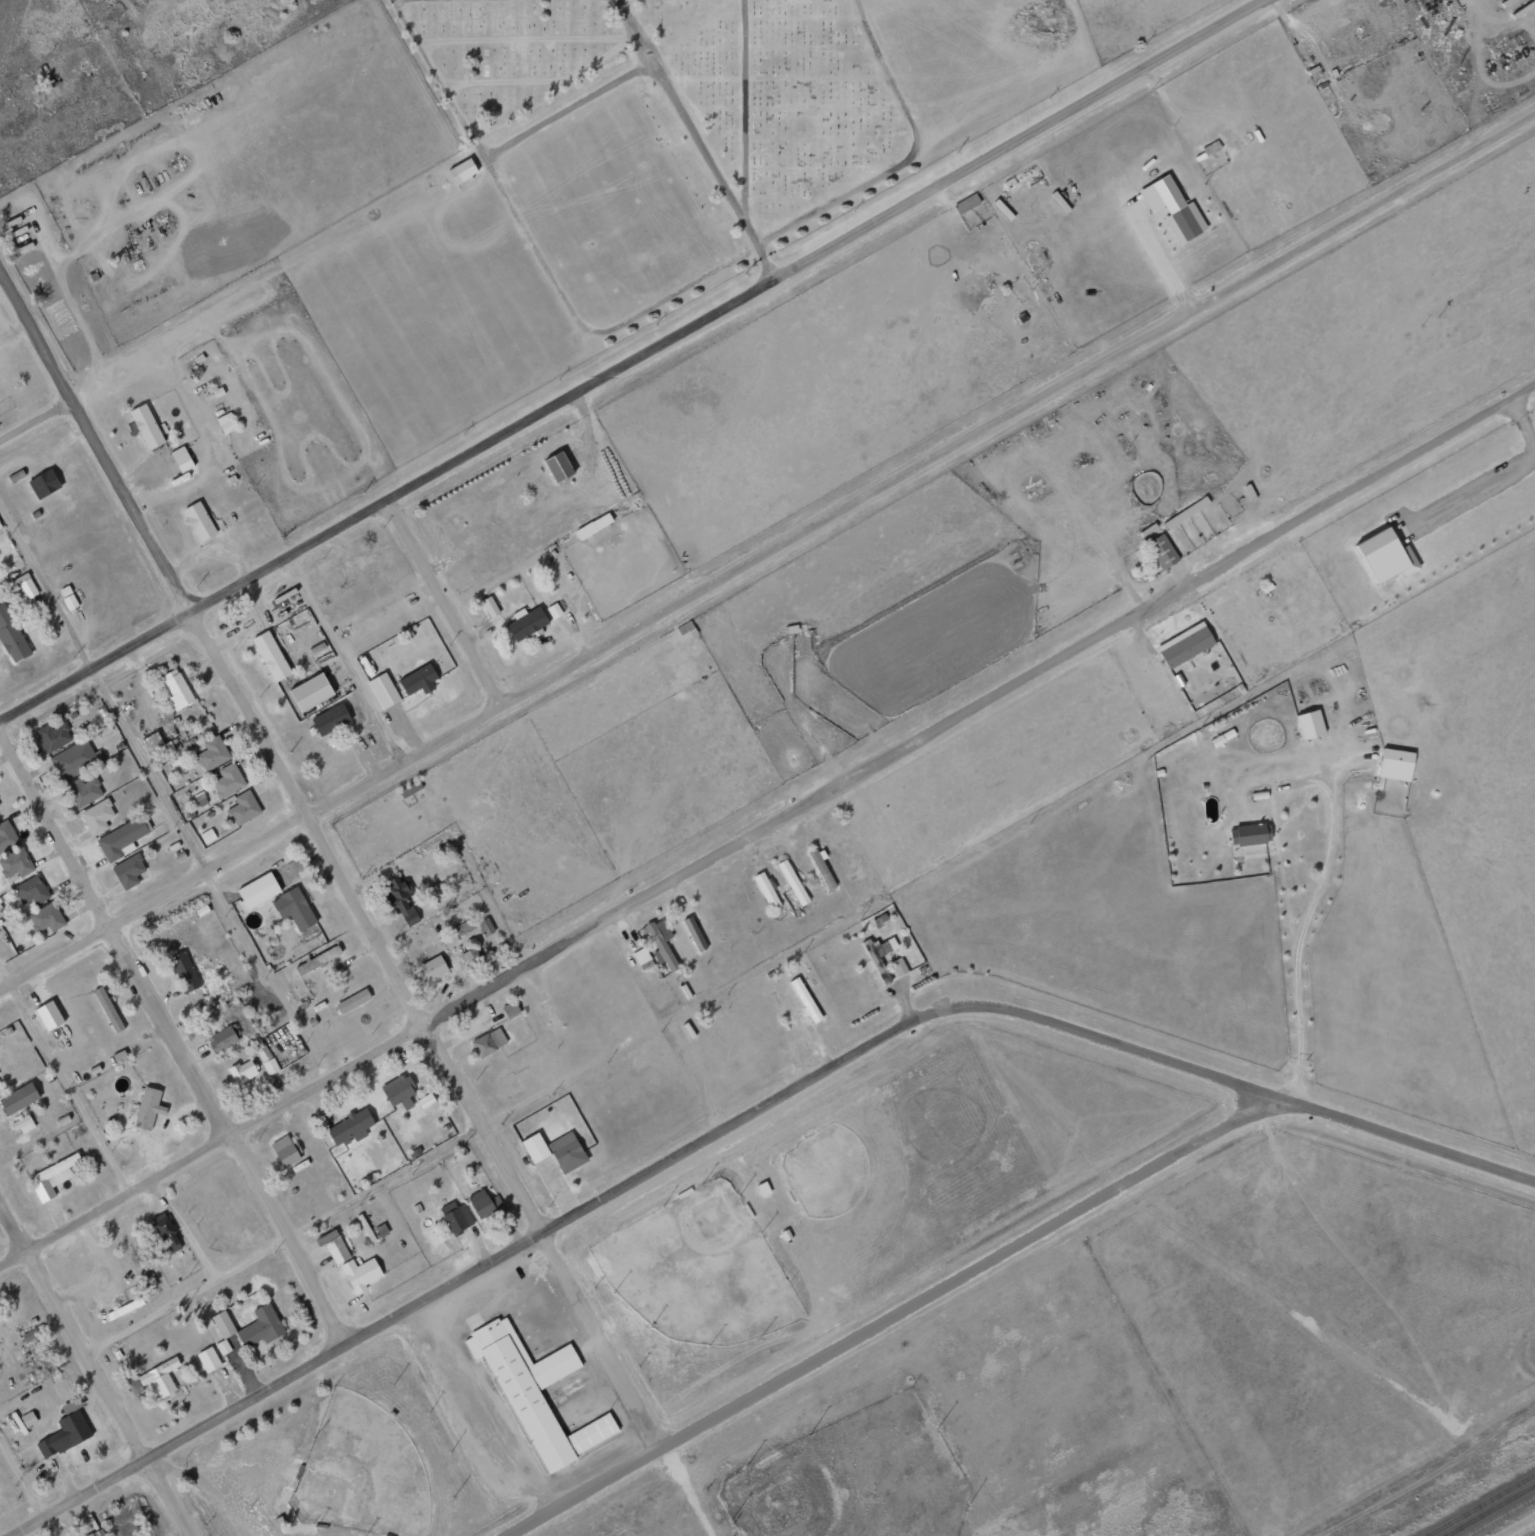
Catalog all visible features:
building: (462, 170)
building: (966, 203)
building: (1169, 204)
road: (632, 359)
road: (36, 420)
building: (226, 422)
building: (146, 425)
building: (558, 452)
building: (181, 458)
building: (558, 465)
building: (43, 482)
building: (593, 514)
building: (200, 520)
building: (593, 525)
building: (1386, 540)
building: (1162, 550)
road: (768, 551)
building: (27, 584)
road: (442, 603)
building: (490, 606)
building: (554, 610)
building: (527, 622)
building: (11, 635)
building: (1185, 644)
building: (271, 654)
road: (346, 656)
building: (418, 679)
building: (177, 688)
building: (384, 689)
road: (102, 690)
building: (310, 691)
building: (330, 718)
building: (1309, 723)
building: (53, 736)
building: (152, 742)
building: (212, 753)
building: (75, 759)
building: (1395, 763)
building: (228, 780)
building: (410, 788)
building: (84, 791)
building: (243, 807)
building: (97, 816)
road: (766, 822)
building: (1251, 833)
building: (207, 835)
building: (7, 836)
building: (121, 839)
road: (330, 857)
building: (15, 863)
building: (822, 867)
building: (128, 871)
building: (793, 881)
building: (258, 889)
building: (767, 889)
building: (30, 890)
building: (401, 899)
building: (294, 908)
building: (46, 917)
building: (485, 926)
building: (465, 928)
building: (694, 933)
building: (660, 941)
building: (879, 947)
building: (319, 959)
building: (469, 960)
building: (898, 966)
building: (433, 967)
building: (183, 971)
building: (353, 1000)
building: (108, 1008)
building: (508, 1010)
building: (224, 1037)
road: (176, 1041)
building: (488, 1042)
building: (267, 1059)
building: (243, 1071)
road: (65, 1073)
building: (399, 1091)
building: (18, 1098)
building: (425, 1099)
building: (148, 1107)
road: (742, 1116)
building: (23, 1124)
building: (350, 1127)
building: (535, 1147)
building: (285, 1151)
building: (566, 1152)
park: (828, 1169)
building: (52, 1177)
building: (483, 1203)
building: (456, 1216)
building: (381, 1230)
road: (277, 1231)
building: (166, 1233)
building: (337, 1250)
park: (701, 1269)
building: (360, 1273)
building: (148, 1278)
building: (124, 1308)
road: (888, 1315)
building: (261, 1326)
building: (223, 1331)
building: (32, 1333)
park: (856, 1334)
building: (208, 1358)
road: (93, 1372)
building: (160, 1379)
building: (536, 1379)
building: (133, 1384)
building: (71, 1405)
building: (28, 1418)
building: (64, 1435)
park: (340, 1455)
park: (363, 1471)
road: (23, 1474)
park: (856, 1479)
railway: (1479, 1504)
railway: (1488, 1509)
railway: (1500, 1515)
building: (91, 1534)

